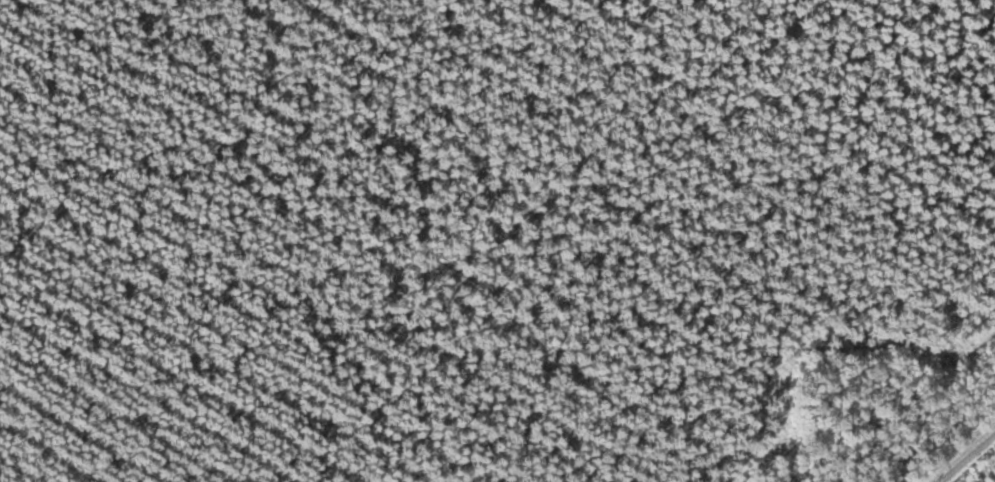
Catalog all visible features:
road: (967, 458)

